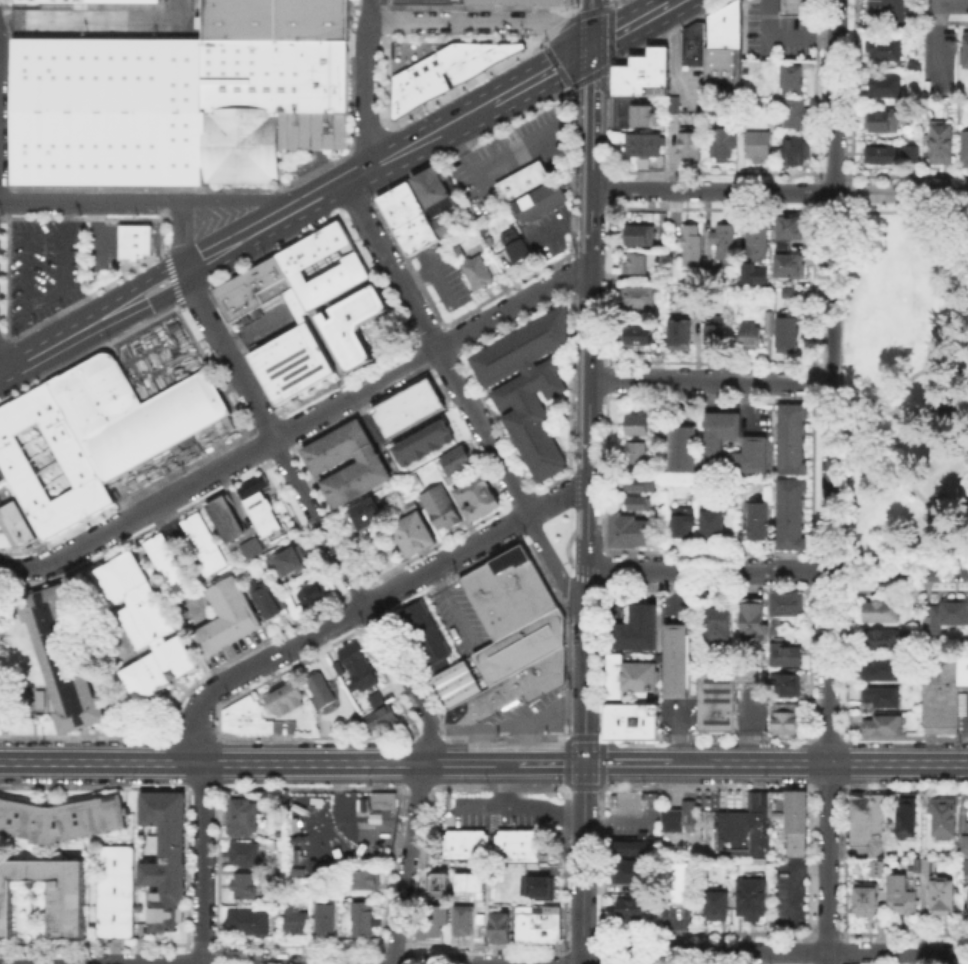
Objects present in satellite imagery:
building: (93, 0)
parking lot: (427, 2)
road: (950, 3)
building: (517, 4)
road: (667, 6)
building: (798, 6)
road: (889, 6)
road: (177, 10)
parking lot: (885, 11)
road: (88, 20)
road: (483, 22)
road: (624, 29)
parking lot: (777, 33)
road: (784, 37)
building: (692, 45)
traffic signals: (592, 47)
building: (965, 49)
building: (723, 50)
building: (885, 50)
building: (916, 66)
building: (642, 74)
road: (538, 75)
parking lot: (759, 77)
building: (418, 80)
building: (791, 80)
road: (366, 83)
building: (885, 87)
road: (593, 95)
road: (834, 96)
building: (676, 106)
building: (631, 112)
building: (795, 113)
building: (880, 121)
road: (539, 130)
building: (941, 143)
building: (643, 145)
building: (720, 145)
building: (757, 145)
building: (688, 146)
building: (964, 149)
building: (239, 150)
building: (794, 150)
building: (916, 152)
road: (395, 155)
parking lot: (512, 155)
building: (881, 155)
building: (522, 180)
road: (779, 192)
road: (245, 200)
road: (92, 201)
building: (538, 201)
building: (417, 212)
building: (788, 226)
parking lot: (549, 232)
road: (186, 235)
building: (640, 235)
road: (93, 236)
road: (247, 238)
building: (134, 239)
parking lot: (111, 241)
building: (725, 241)
building: (760, 243)
building: (516, 247)
building: (694, 247)
road: (23, 249)
building: (635, 263)
road: (64, 264)
building: (788, 265)
parking lot: (44, 268)
building: (474, 272)
building: (754, 273)
road: (151, 275)
building: (713, 275)
road: (170, 277)
parking lot: (444, 278)
building: (792, 294)
road: (161, 295)
building: (638, 296)
building: (689, 297)
building: (299, 307)
building: (769, 322)
parking lot: (267, 325)
building: (358, 326)
building: (679, 331)
building: (715, 332)
building: (634, 334)
building: (750, 334)
building: (787, 335)
road: (62, 338)
road: (435, 349)
road: (2, 368)
road: (920, 373)
road: (588, 380)
road: (709, 380)
park: (905, 380)
road: (829, 382)
building: (528, 385)
road: (933, 394)
road: (964, 395)
road: (878, 403)
building: (406, 407)
building: (129, 412)
parking lot: (757, 419)
road: (949, 419)
road: (297, 422)
building: (636, 424)
building: (438, 433)
building: (791, 438)
building: (754, 443)
building: (681, 448)
building: (67, 452)
building: (633, 452)
building: (424, 458)
building: (455, 460)
road: (47, 462)
building: (367, 468)
building: (1, 476)
road: (910, 480)
building: (411, 482)
building: (639, 483)
building: (251, 484)
building: (475, 497)
road: (556, 498)
building: (636, 503)
building: (439, 508)
building: (266, 514)
building: (790, 514)
building: (363, 515)
road: (313, 516)
building: (229, 520)
building: (757, 520)
building: (681, 523)
building: (713, 523)
building: (15, 526)
building: (630, 532)
building: (412, 534)
building: (735, 539)
building: (207, 542)
building: (257, 546)
building: (293, 560)
building: (169, 564)
road: (556, 567)
road: (777, 571)
building: (309, 589)
building: (271, 598)
building: (787, 604)
building: (880, 610)
building: (948, 615)
building: (752, 617)
building: (232, 618)
parking lot: (460, 618)
road: (335, 622)
building: (716, 623)
building: (145, 626)
building: (632, 630)
building: (422, 634)
building: (882, 640)
building: (507, 642)
building: (786, 654)
building: (64, 659)
building: (678, 662)
building: (356, 665)
road: (585, 666)
building: (881, 670)
building: (746, 672)
building: (964, 673)
building: (637, 675)
building: (612, 677)
building: (785, 686)
building: (323, 692)
building: (941, 694)
building: (881, 696)
building: (375, 698)
building: (287, 699)
building: (715, 700)
parking lot: (750, 708)
parking lot: (677, 715)
parking lot: (522, 717)
building: (247, 718)
building: (380, 720)
building: (786, 720)
building: (628, 723)
building: (883, 725)
road: (484, 763)
traffic signals: (585, 763)
road: (827, 768)
building: (385, 799)
road: (521, 805)
parking lot: (503, 809)
parking lot: (630, 813)
building: (943, 815)
building: (241, 817)
building: (789, 817)
building: (906, 817)
building: (680, 820)
building: (63, 821)
building: (866, 825)
building: (744, 828)
parking lot: (336, 832)
building: (965, 842)
building: (512, 843)
building: (466, 844)
building: (627, 848)
building: (243, 854)
building: (167, 857)
road: (202, 863)
road: (407, 863)
road: (583, 863)
building: (927, 866)
building: (964, 866)
building: (876, 867)
building: (633, 871)
building: (361, 879)
building: (469, 882)
building: (436, 883)
building: (681, 885)
building: (242, 886)
building: (538, 889)
building: (117, 892)
parking lot: (786, 894)
building: (901, 895)
building: (943, 895)
building: (753, 900)
building: (865, 901)
building: (719, 905)
building: (634, 909)
building: (72, 911)
building: (324, 914)
building: (362, 918)
building: (462, 918)
building: (295, 921)
building: (431, 921)
building: (246, 923)
building: (538, 925)
building: (499, 928)
road: (768, 953)
road: (101, 963)

